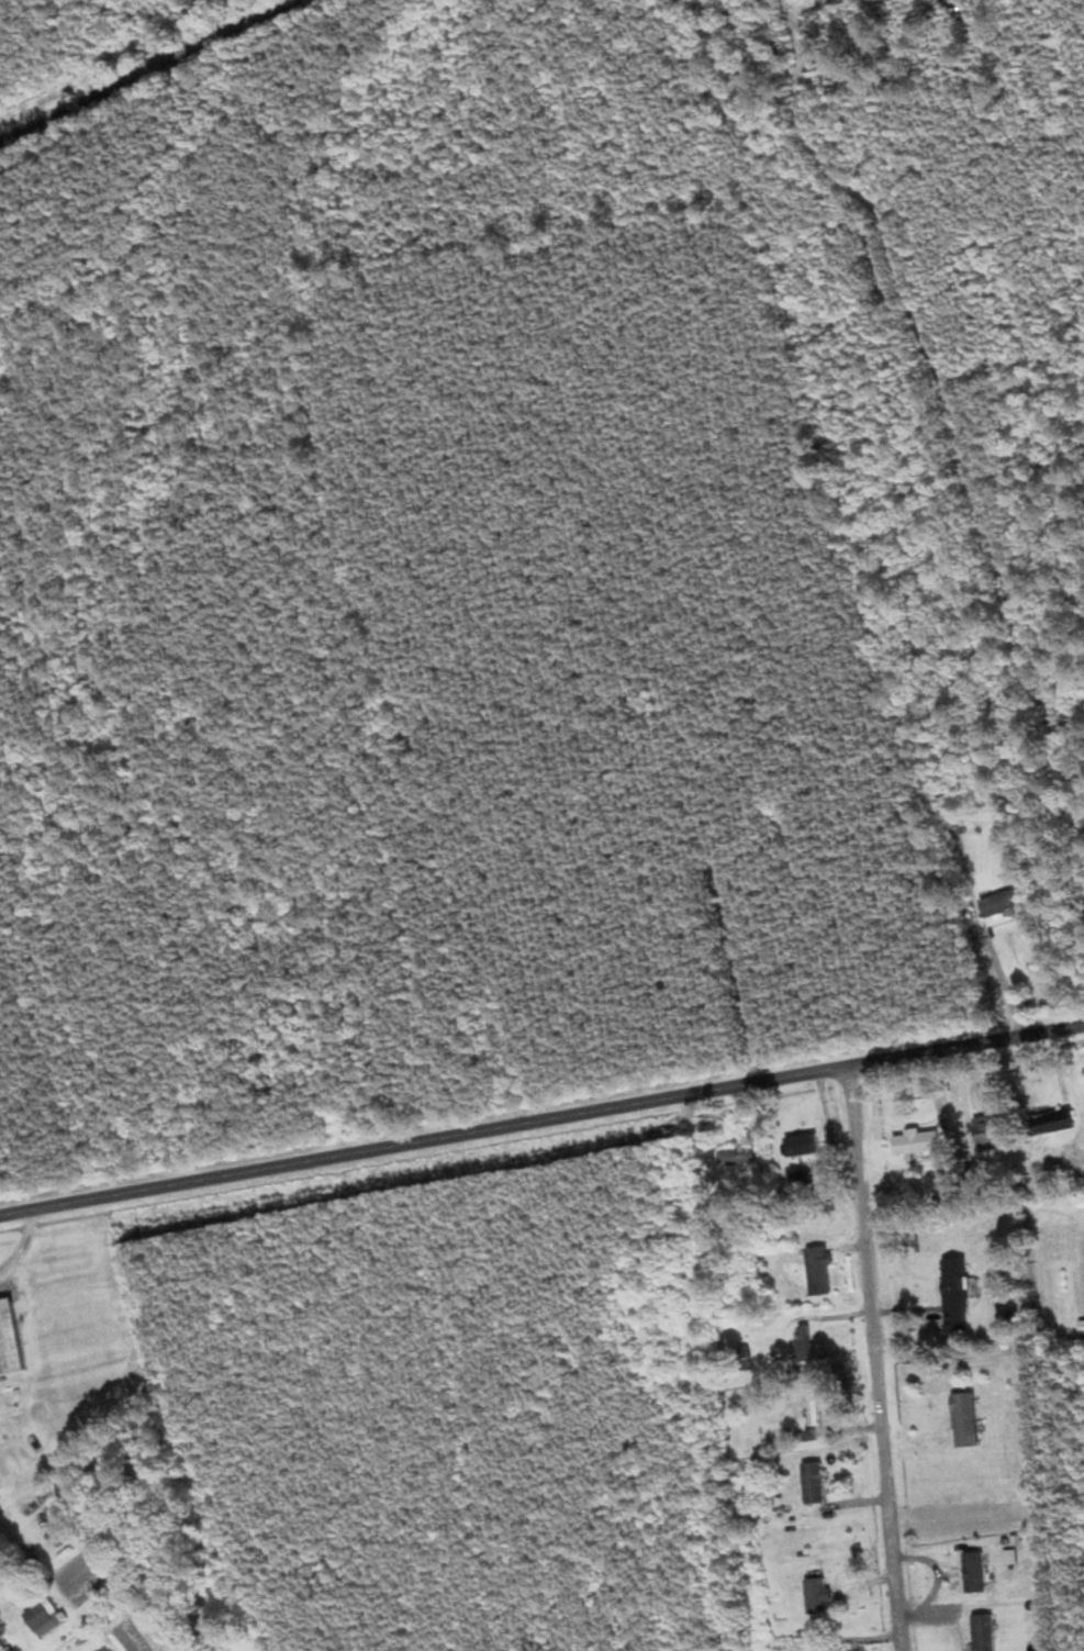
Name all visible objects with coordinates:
railway: (154, 71)
building: (1007, 902)
building: (1053, 1123)
road: (541, 1124)
building: (988, 1134)
building: (916, 1142)
building: (803, 1151)
building: (738, 1157)
building: (819, 1272)
building: (956, 1294)
building: (1082, 1327)
building: (9, 1339)
building: (804, 1345)
road: (878, 1359)
building: (965, 1420)
building: (814, 1484)
building: (975, 1573)
building: (817, 1593)
building: (43, 1618)
building: (984, 1632)
building: (836, 1648)

